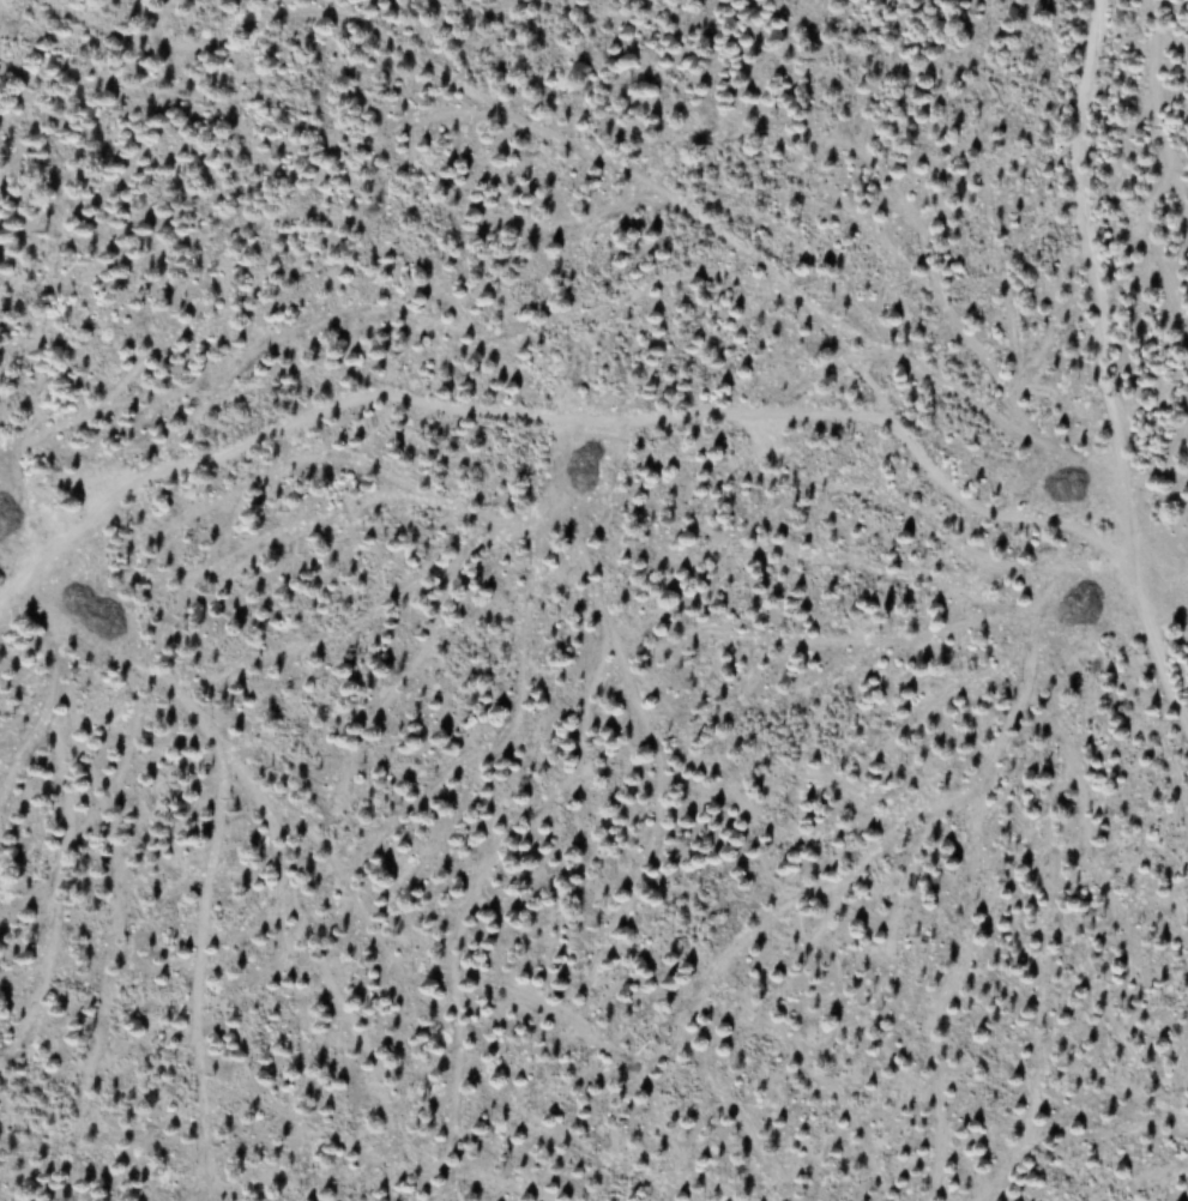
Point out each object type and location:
road: (1106, 372)

